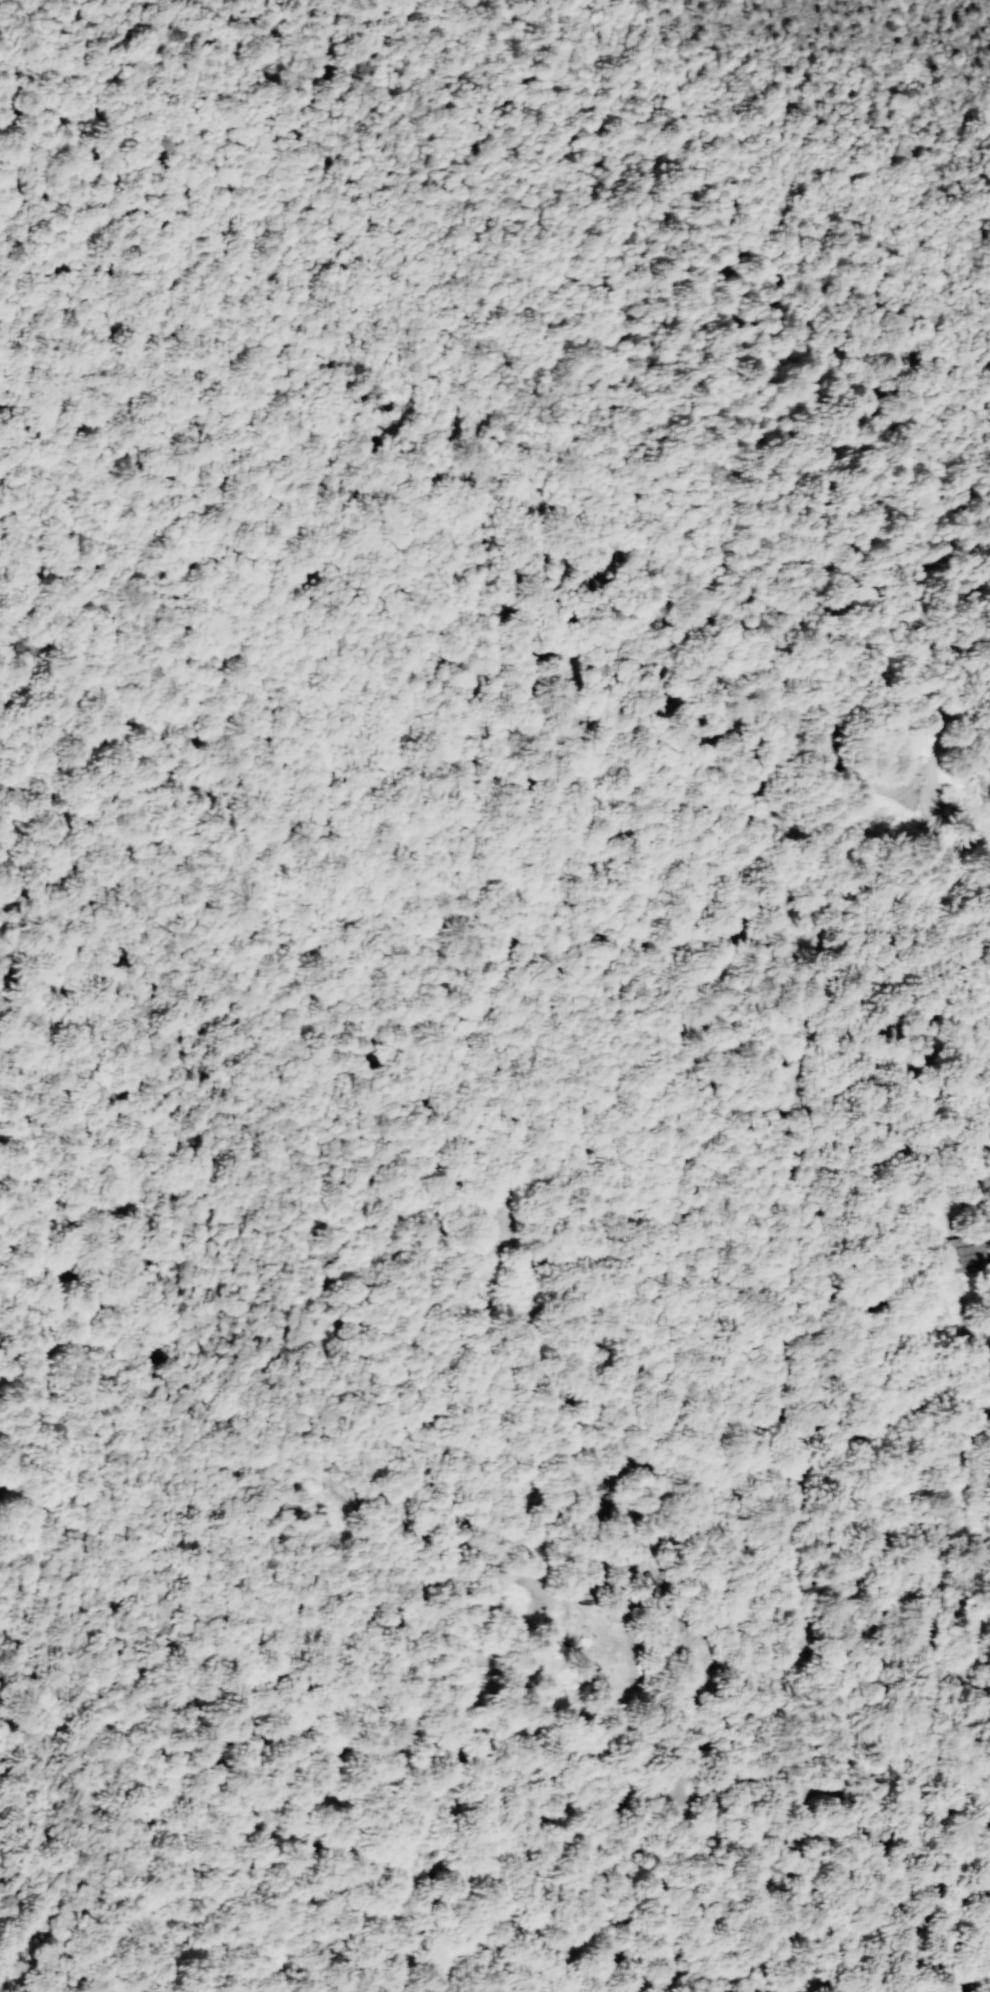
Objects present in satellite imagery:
road: (799, 1132)
road: (935, 1204)
road: (324, 1493)
road: (925, 1784)
road: (25, 1812)
road: (679, 1819)
road: (969, 1964)
road: (225, 1968)

